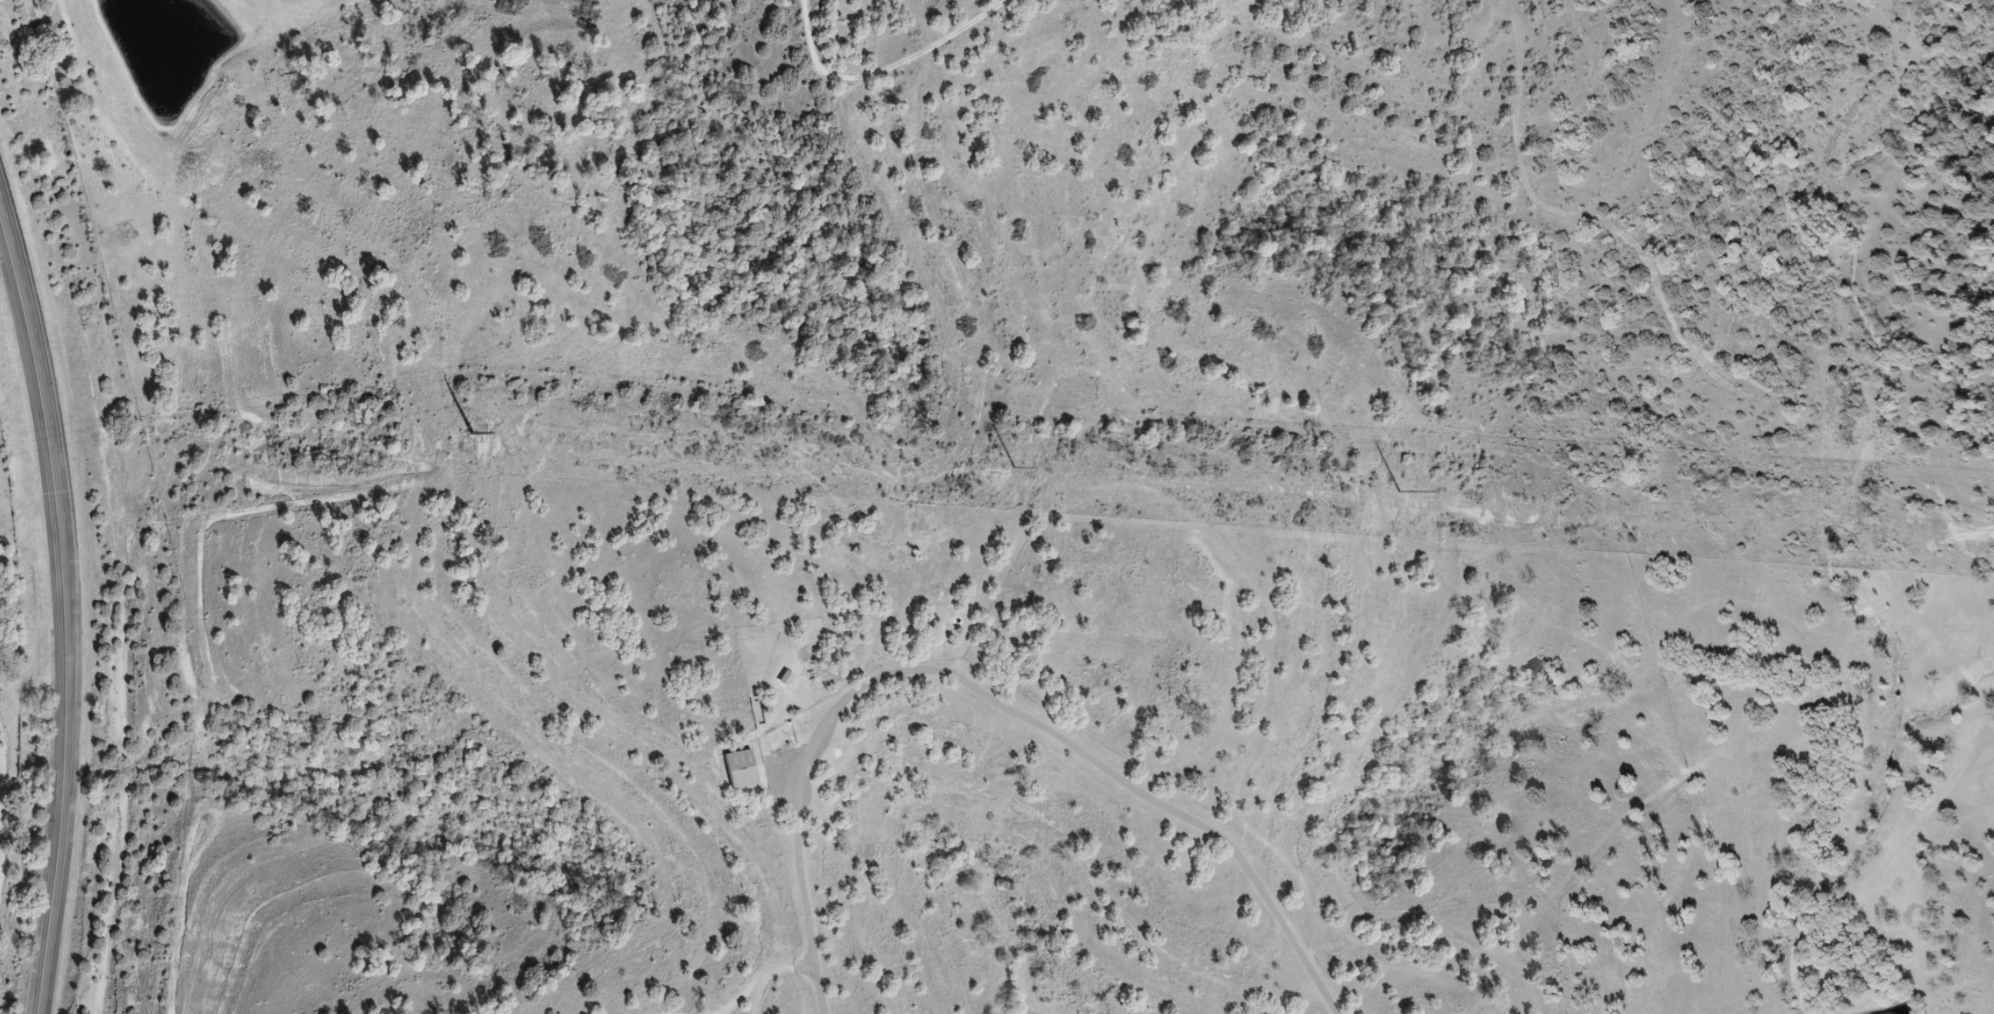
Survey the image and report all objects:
road: (46, 376)
power tower: (473, 434)
power tower: (1013, 468)
power tower: (1402, 492)
building: (787, 680)
road: (994, 699)
building: (743, 770)
road: (67, 783)

